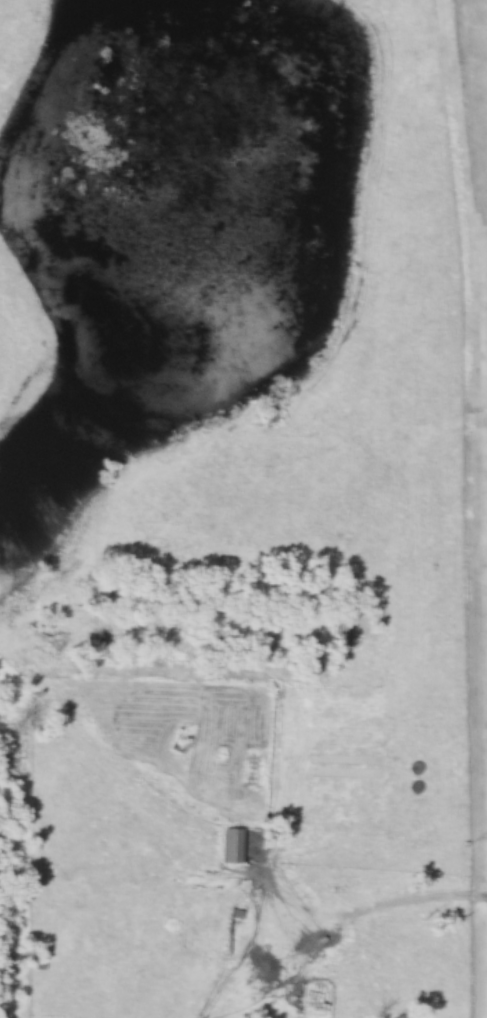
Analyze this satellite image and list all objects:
building: (233, 845)
road: (401, 897)

